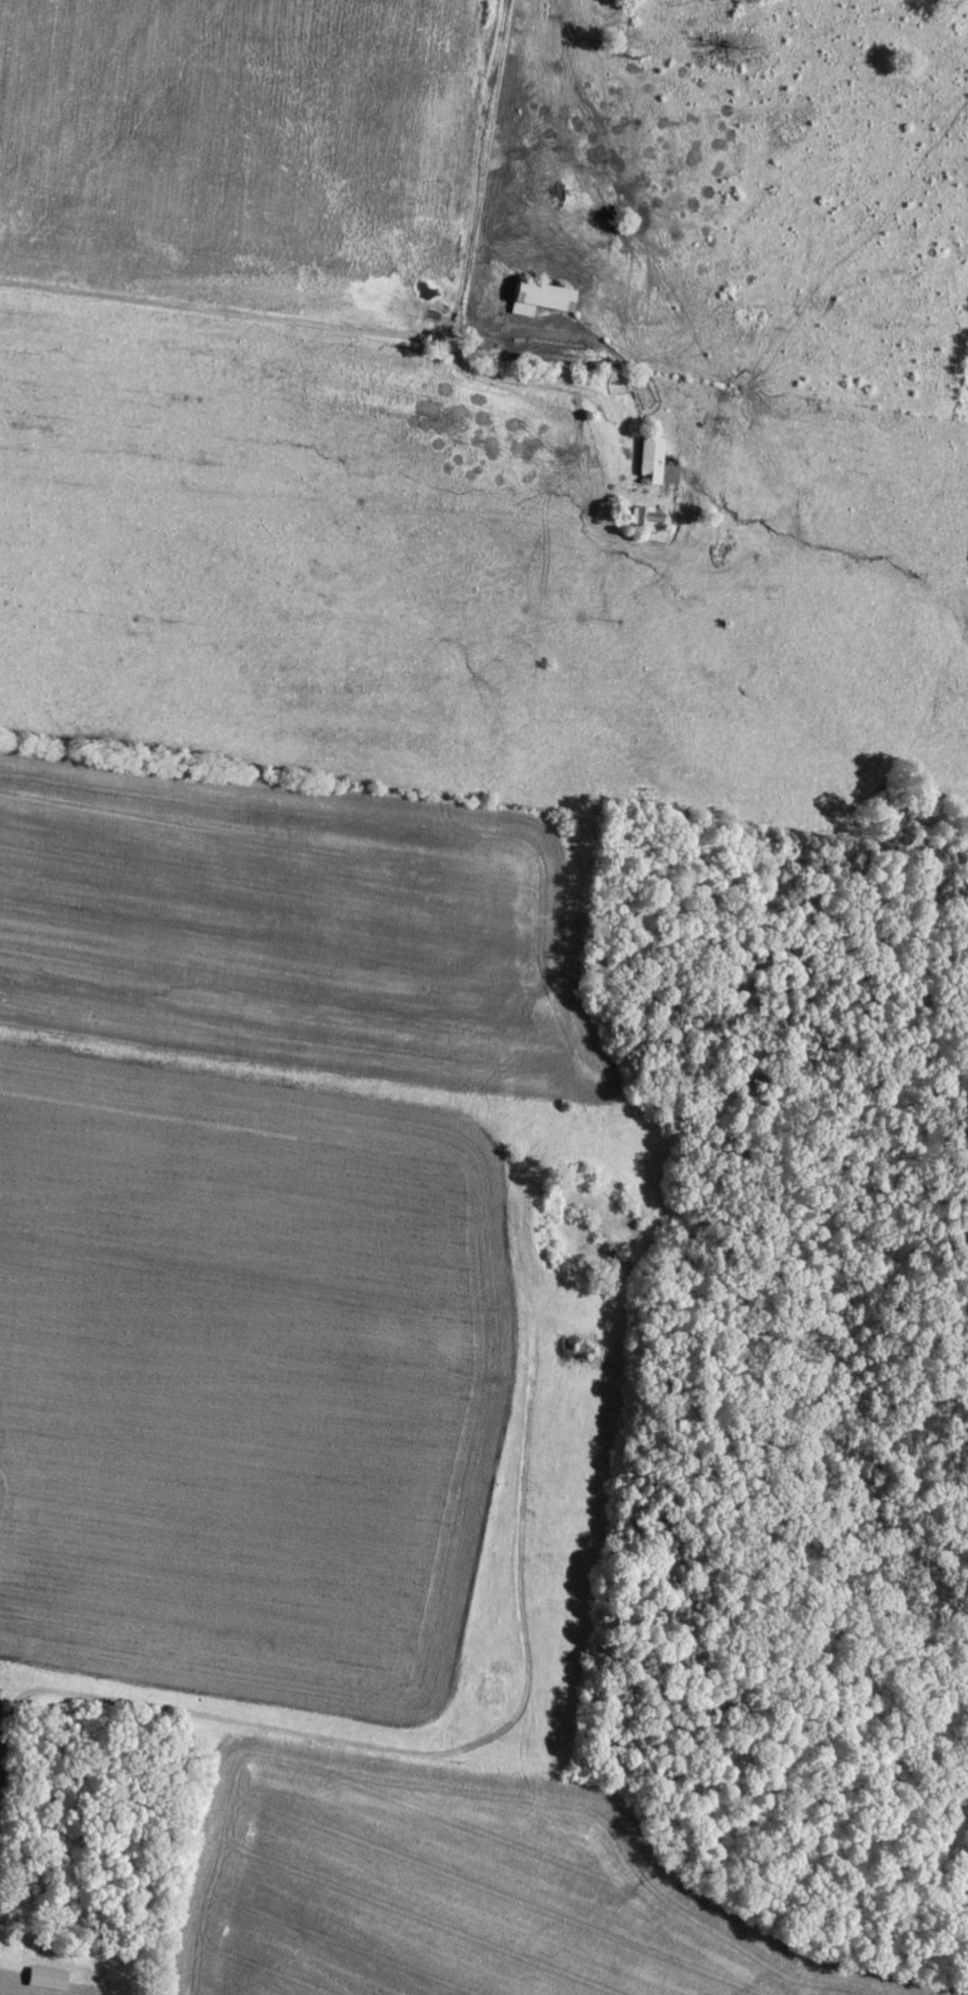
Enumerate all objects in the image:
road: (473, 178)
building: (548, 300)
road: (212, 312)
building: (662, 466)
building: (657, 520)
building: (52, 1980)

